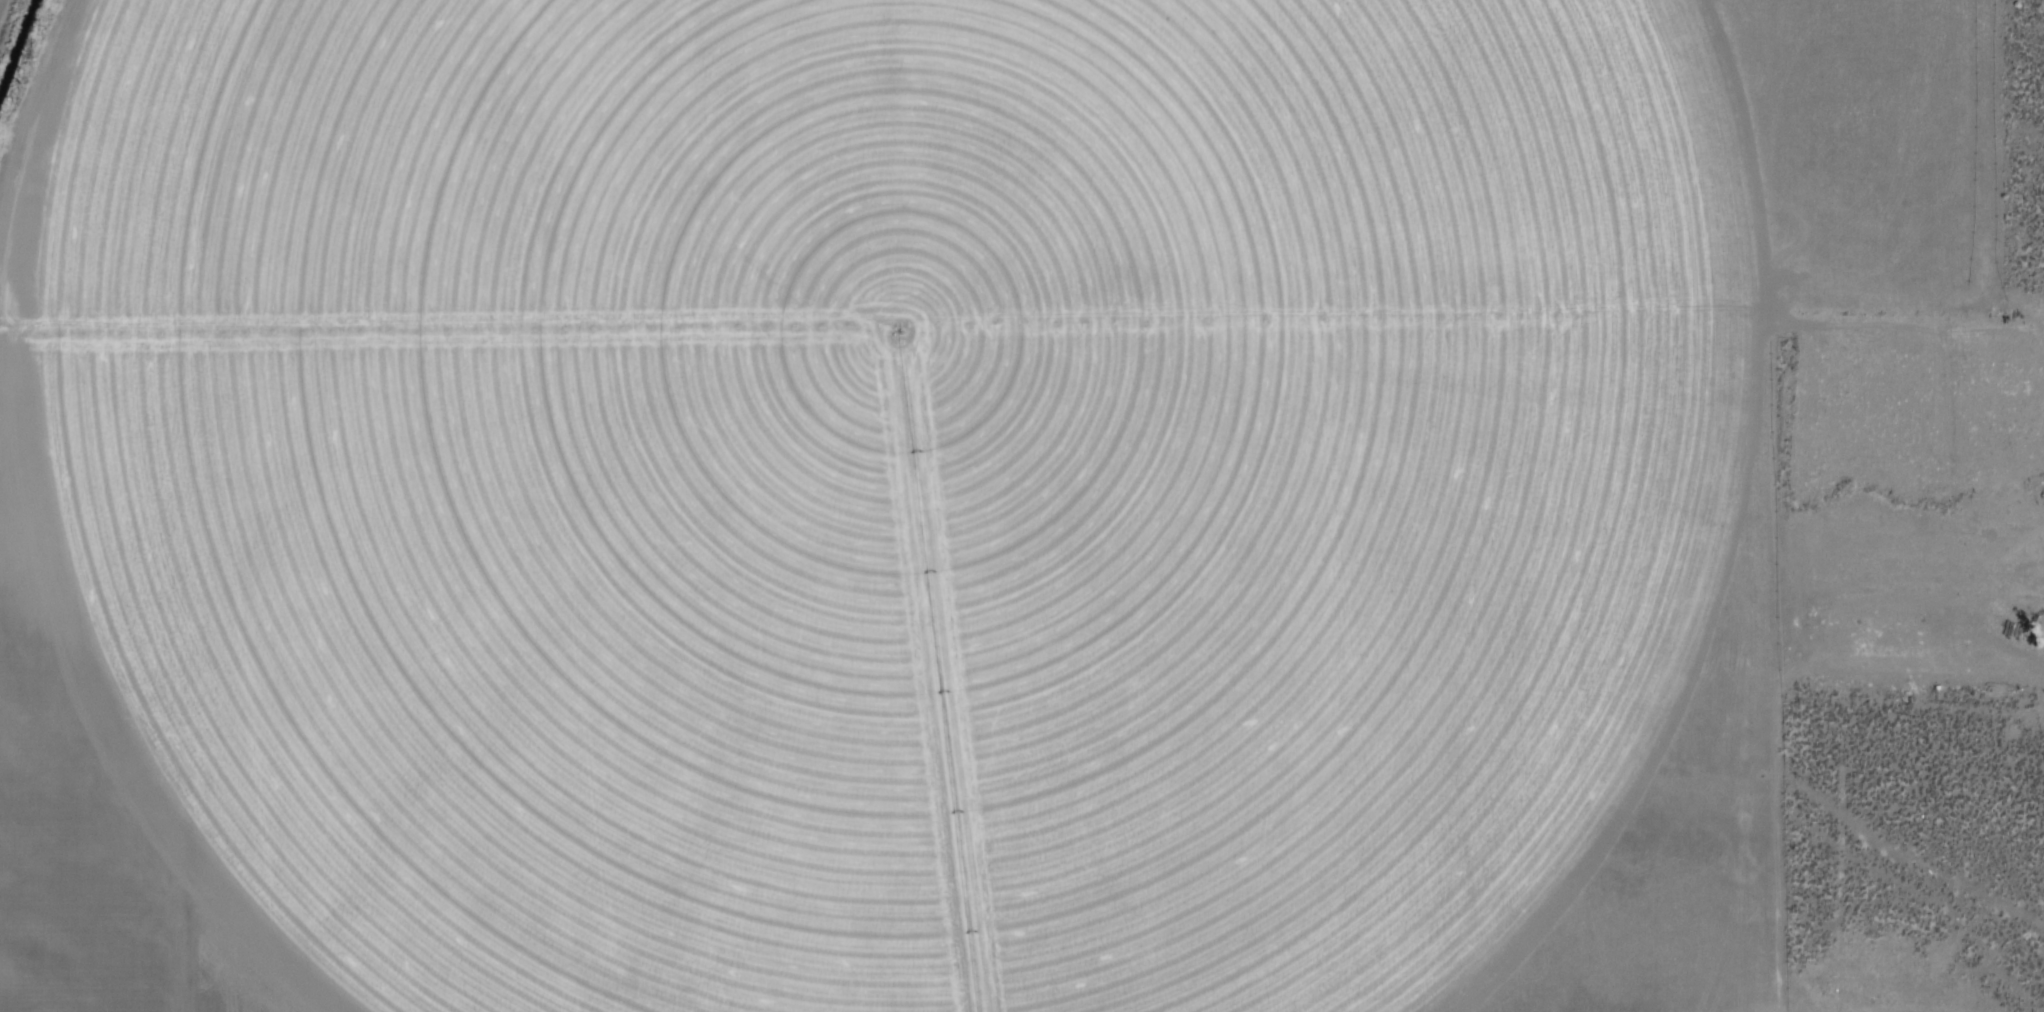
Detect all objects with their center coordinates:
crop: (926, 494)
building: (1882, 566)
building: (1936, 601)
building: (1945, 666)

